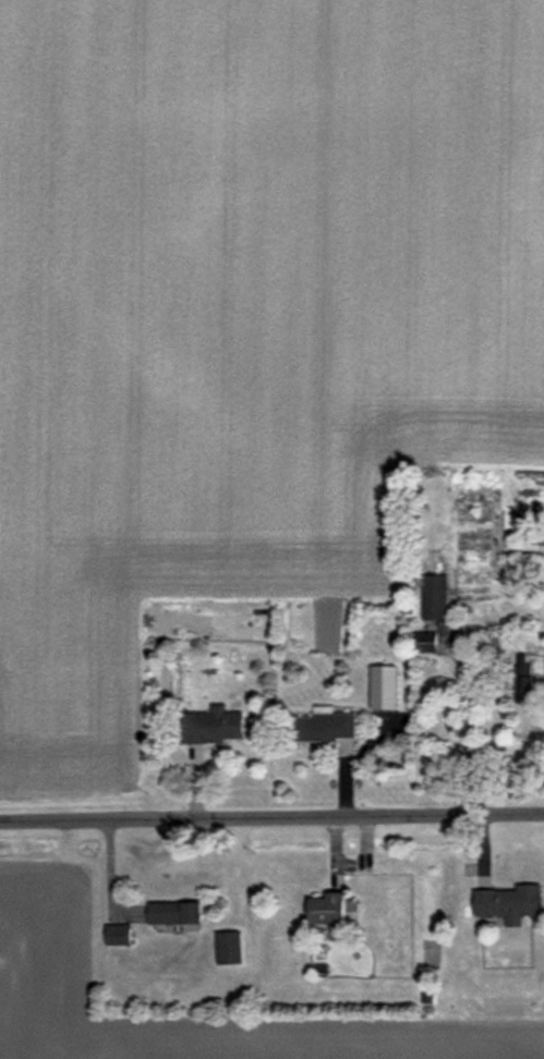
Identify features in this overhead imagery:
building: (437, 596)
building: (528, 679)
building: (388, 687)
building: (217, 726)
building: (328, 728)
road: (271, 816)
building: (511, 903)
building: (334, 910)
building: (179, 913)
building: (121, 934)
building: (232, 948)

